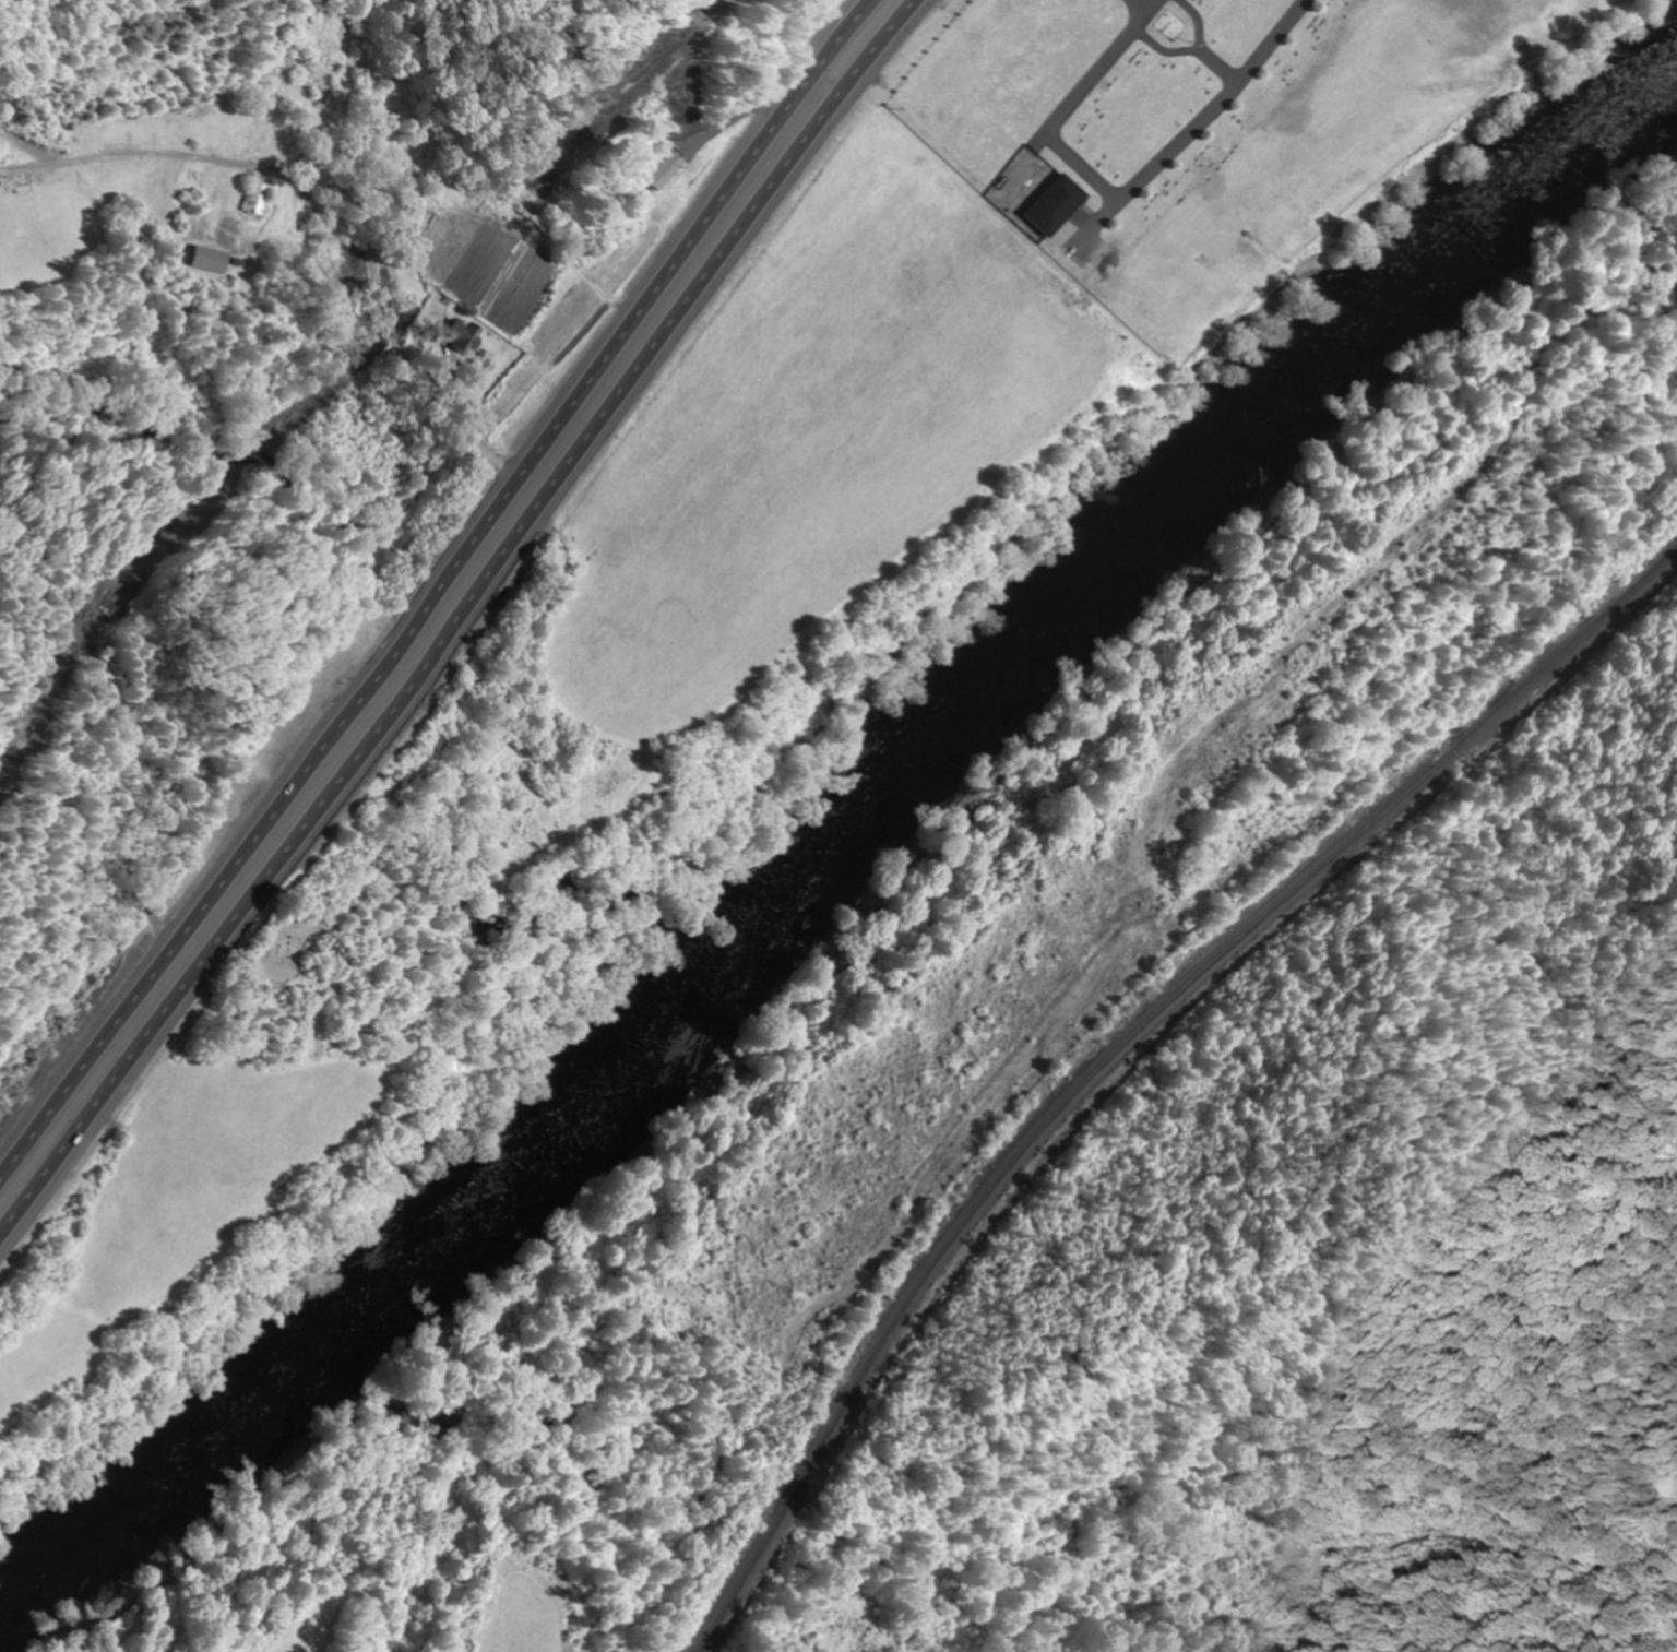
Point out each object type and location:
building: (307, 76)
building: (253, 194)
road: (317, 227)
building: (204, 259)
building: (456, 341)
road: (433, 583)
road: (460, 617)
river: (849, 835)
railway: (1123, 1048)

